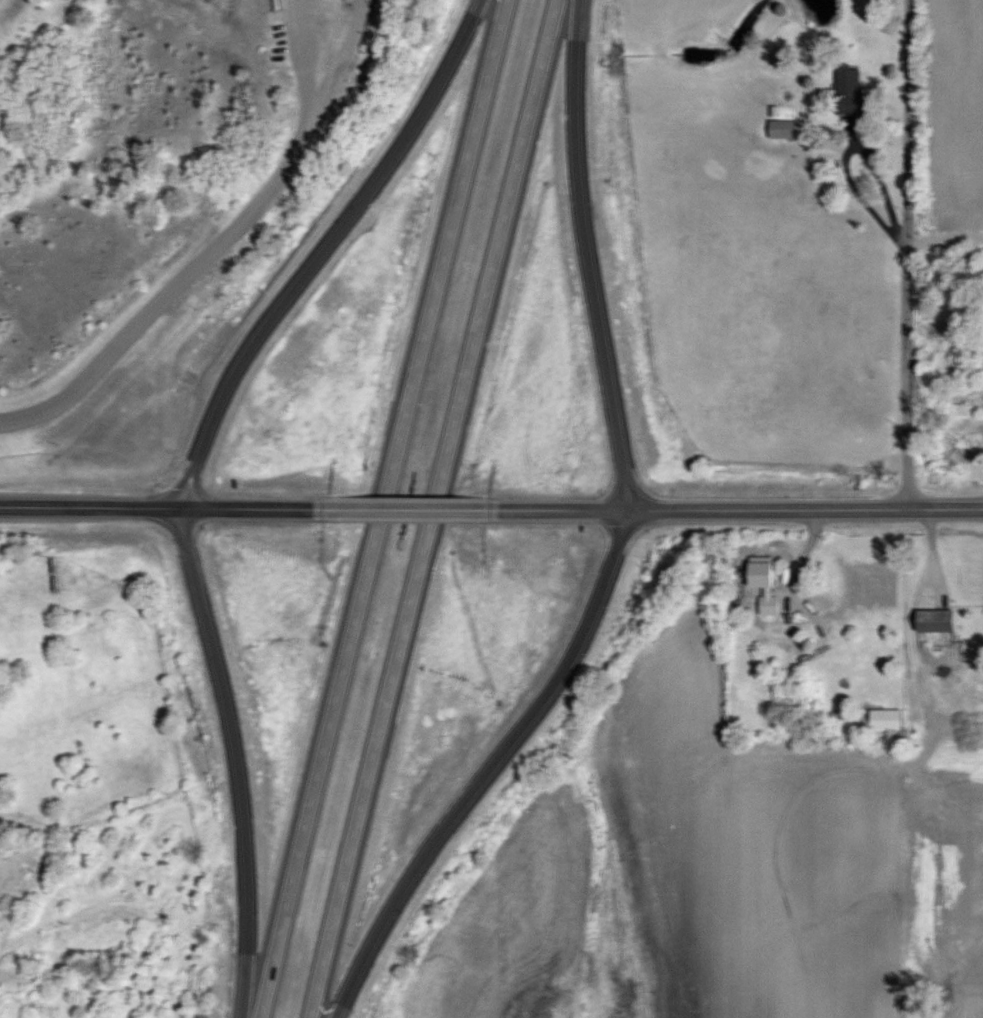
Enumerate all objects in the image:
building: (853, 93)
building: (785, 129)
road: (945, 243)
road: (211, 253)
road: (908, 254)
road: (191, 471)
road: (166, 507)
road: (402, 508)
road: (432, 508)
road: (379, 509)
road: (727, 510)
road: (616, 547)
building: (768, 588)
building: (939, 622)
building: (888, 720)

